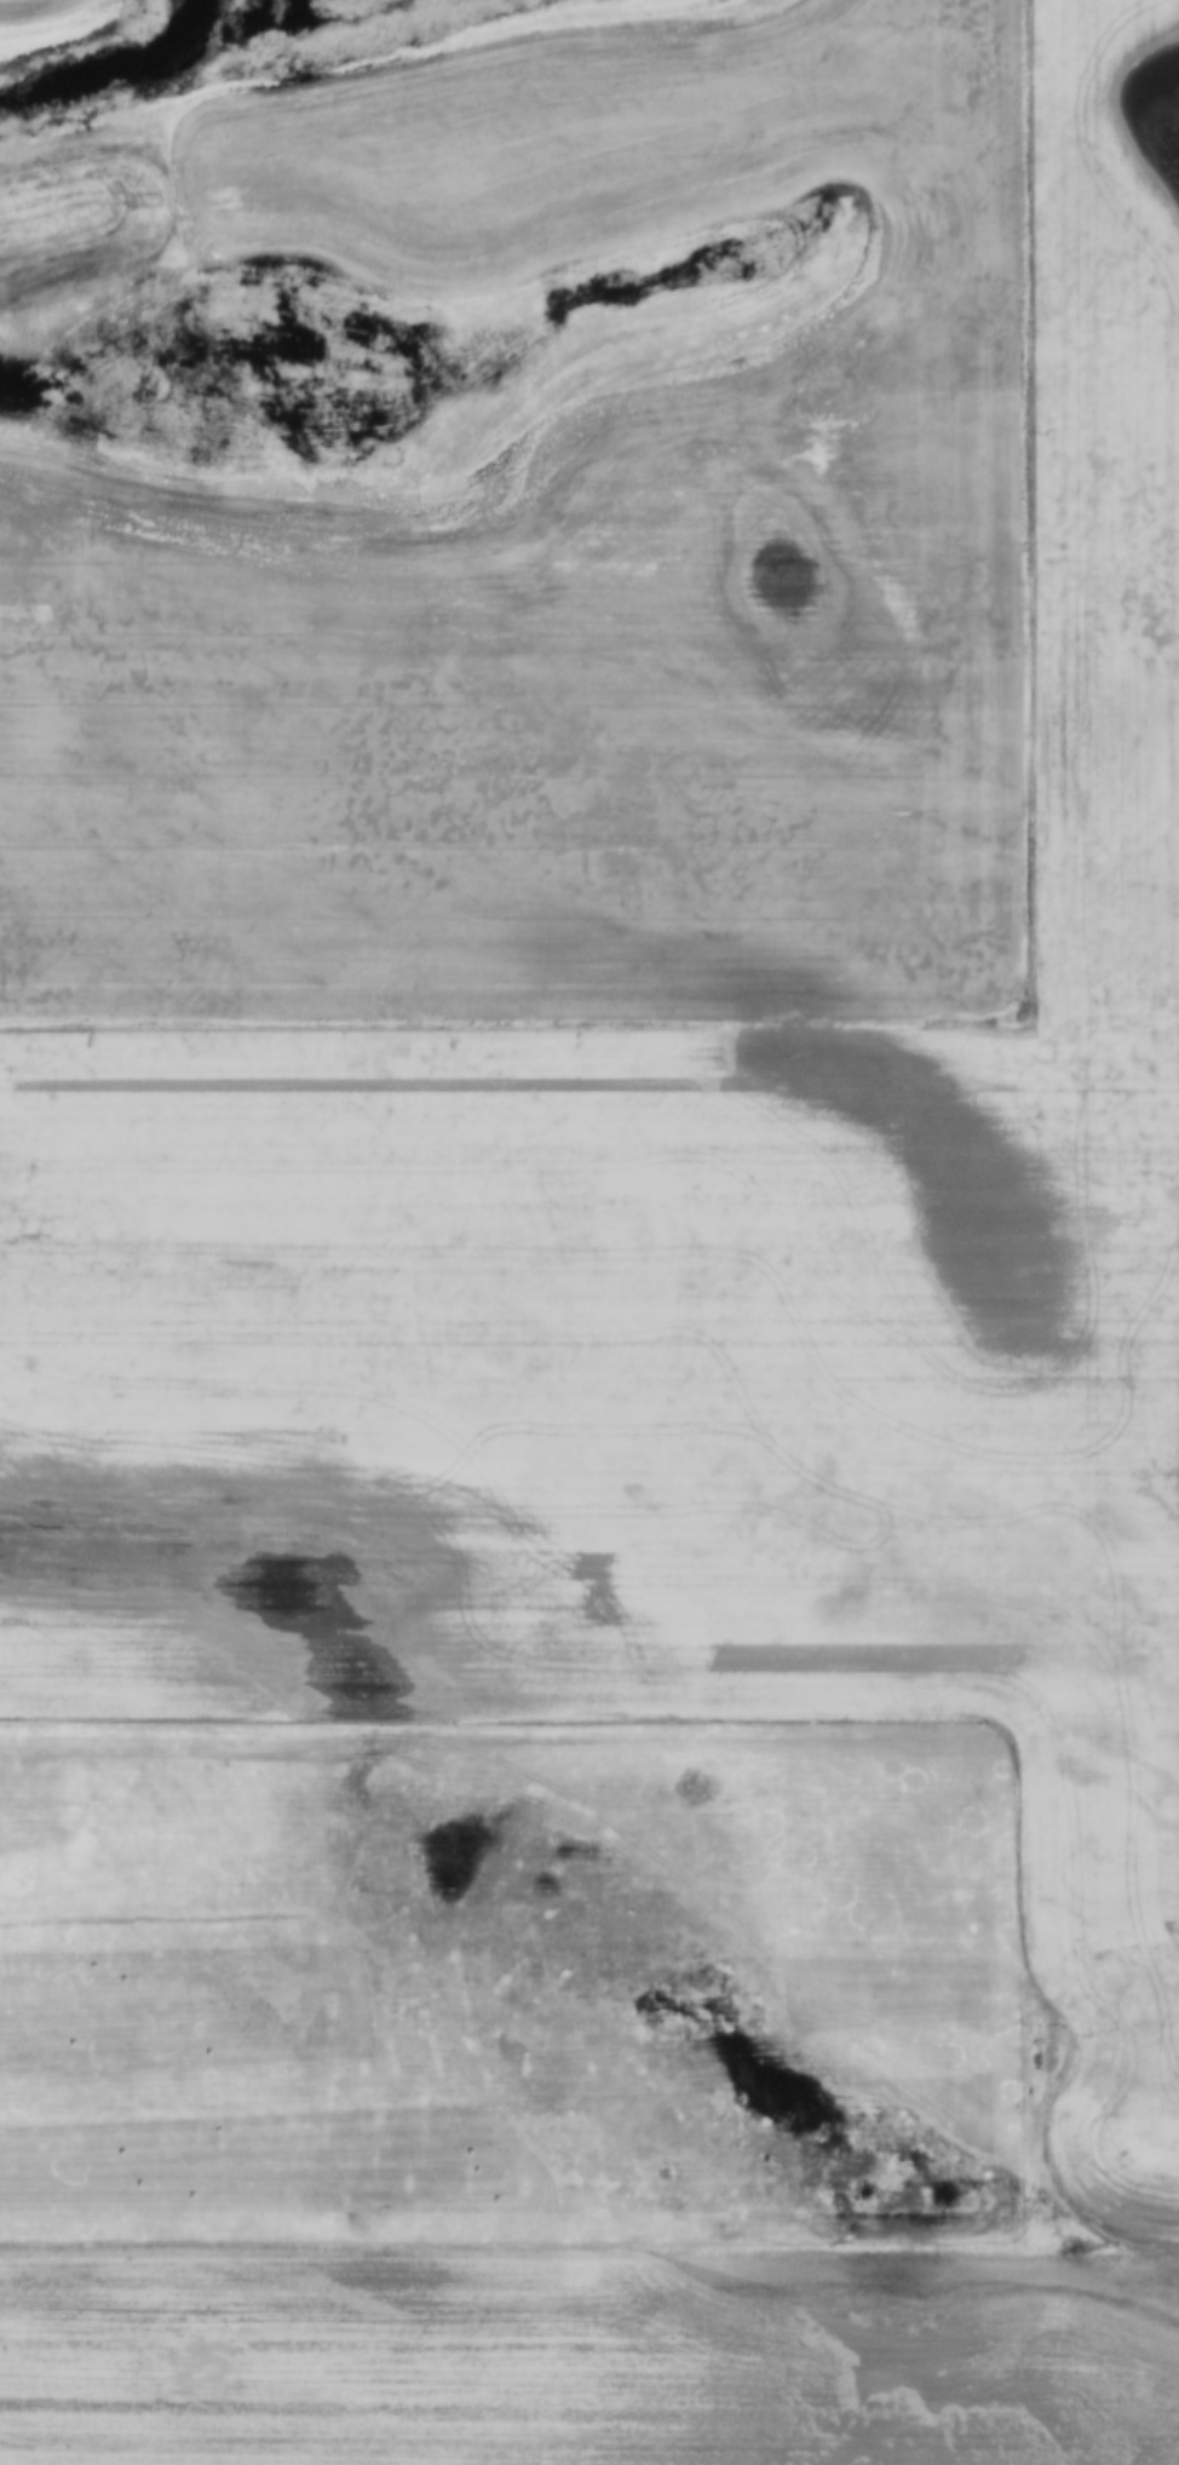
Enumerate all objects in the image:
crop: (588, 2356)

